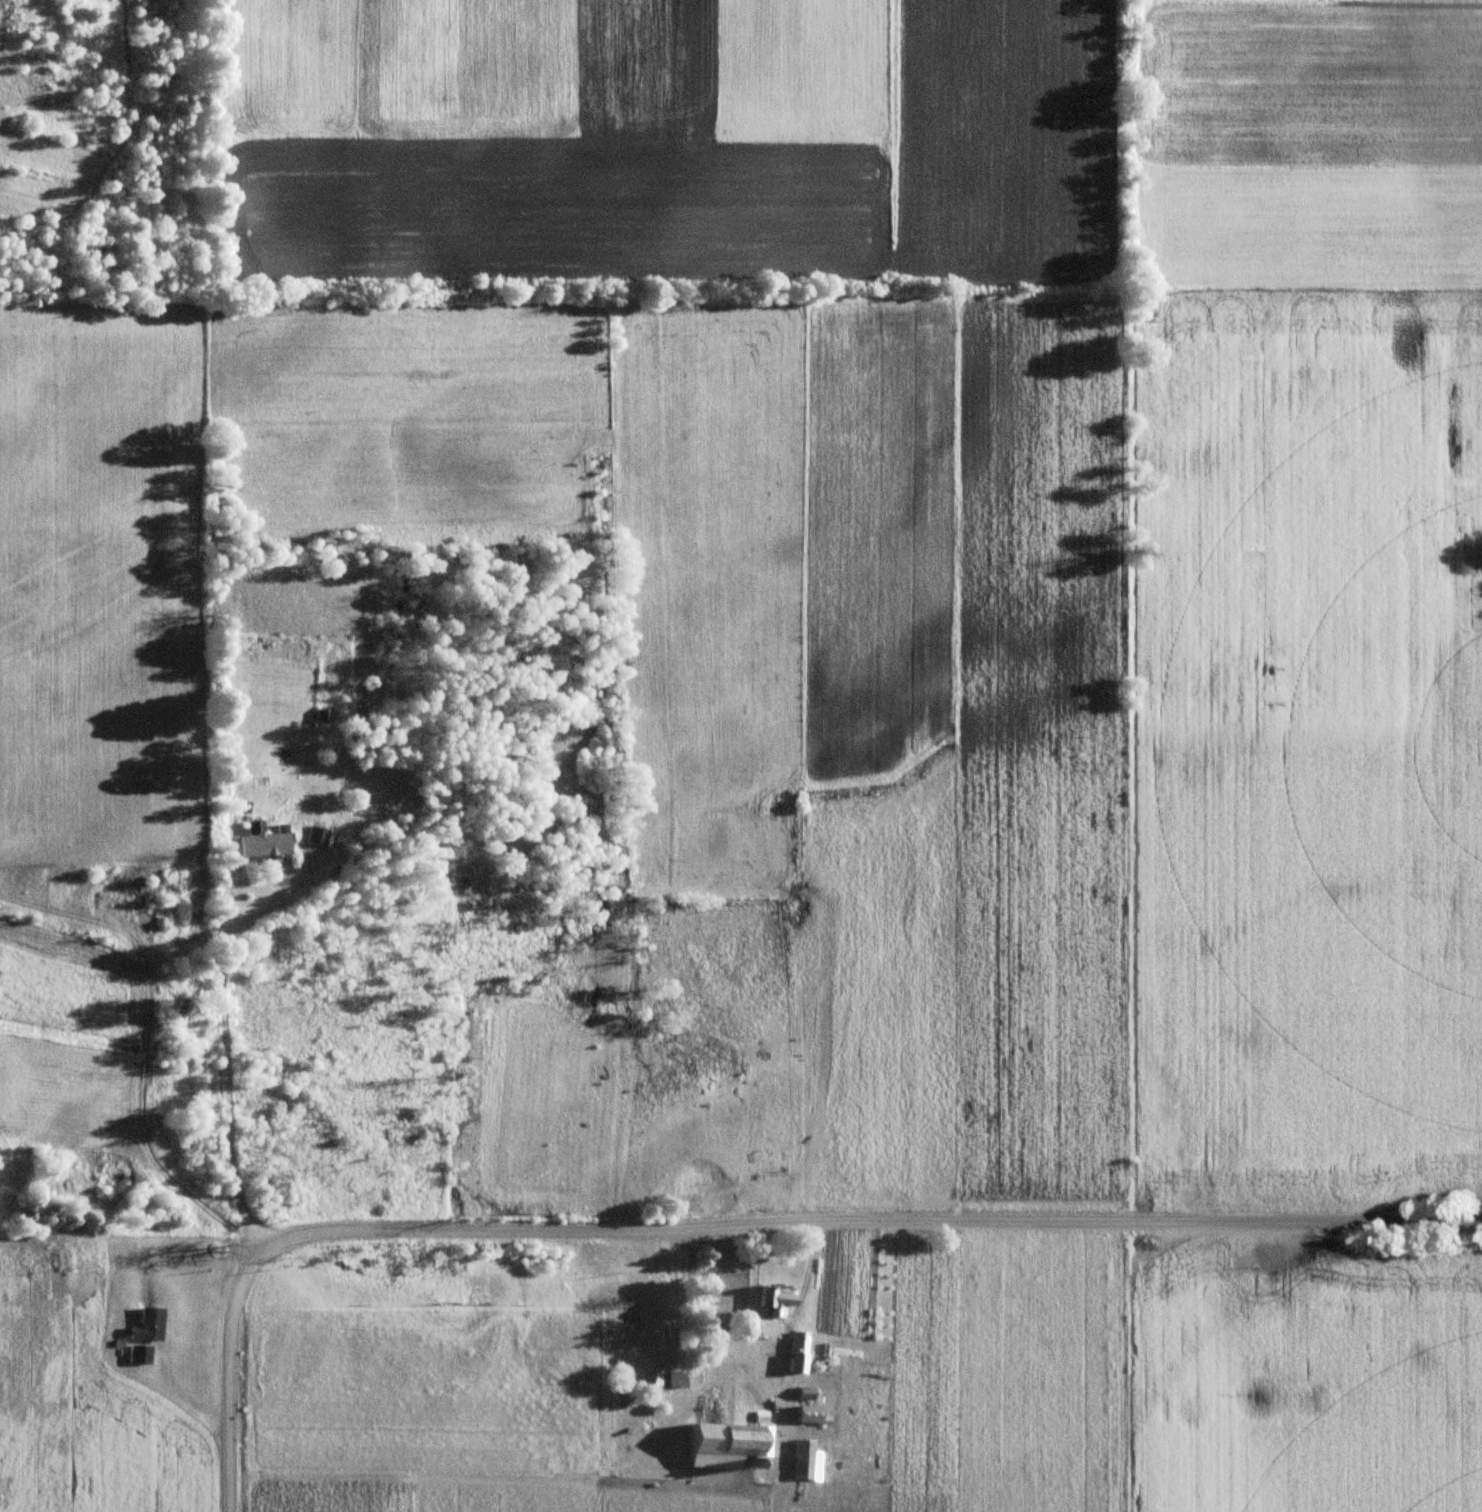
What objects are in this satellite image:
building: (317, 836)
building: (264, 842)
road: (222, 1056)
road: (905, 1226)
building: (777, 1303)
building: (631, 1320)
building: (147, 1328)
road: (227, 1339)
building: (797, 1353)
building: (139, 1356)
building: (686, 1381)
building: (650, 1386)
building: (742, 1441)
building: (804, 1452)

